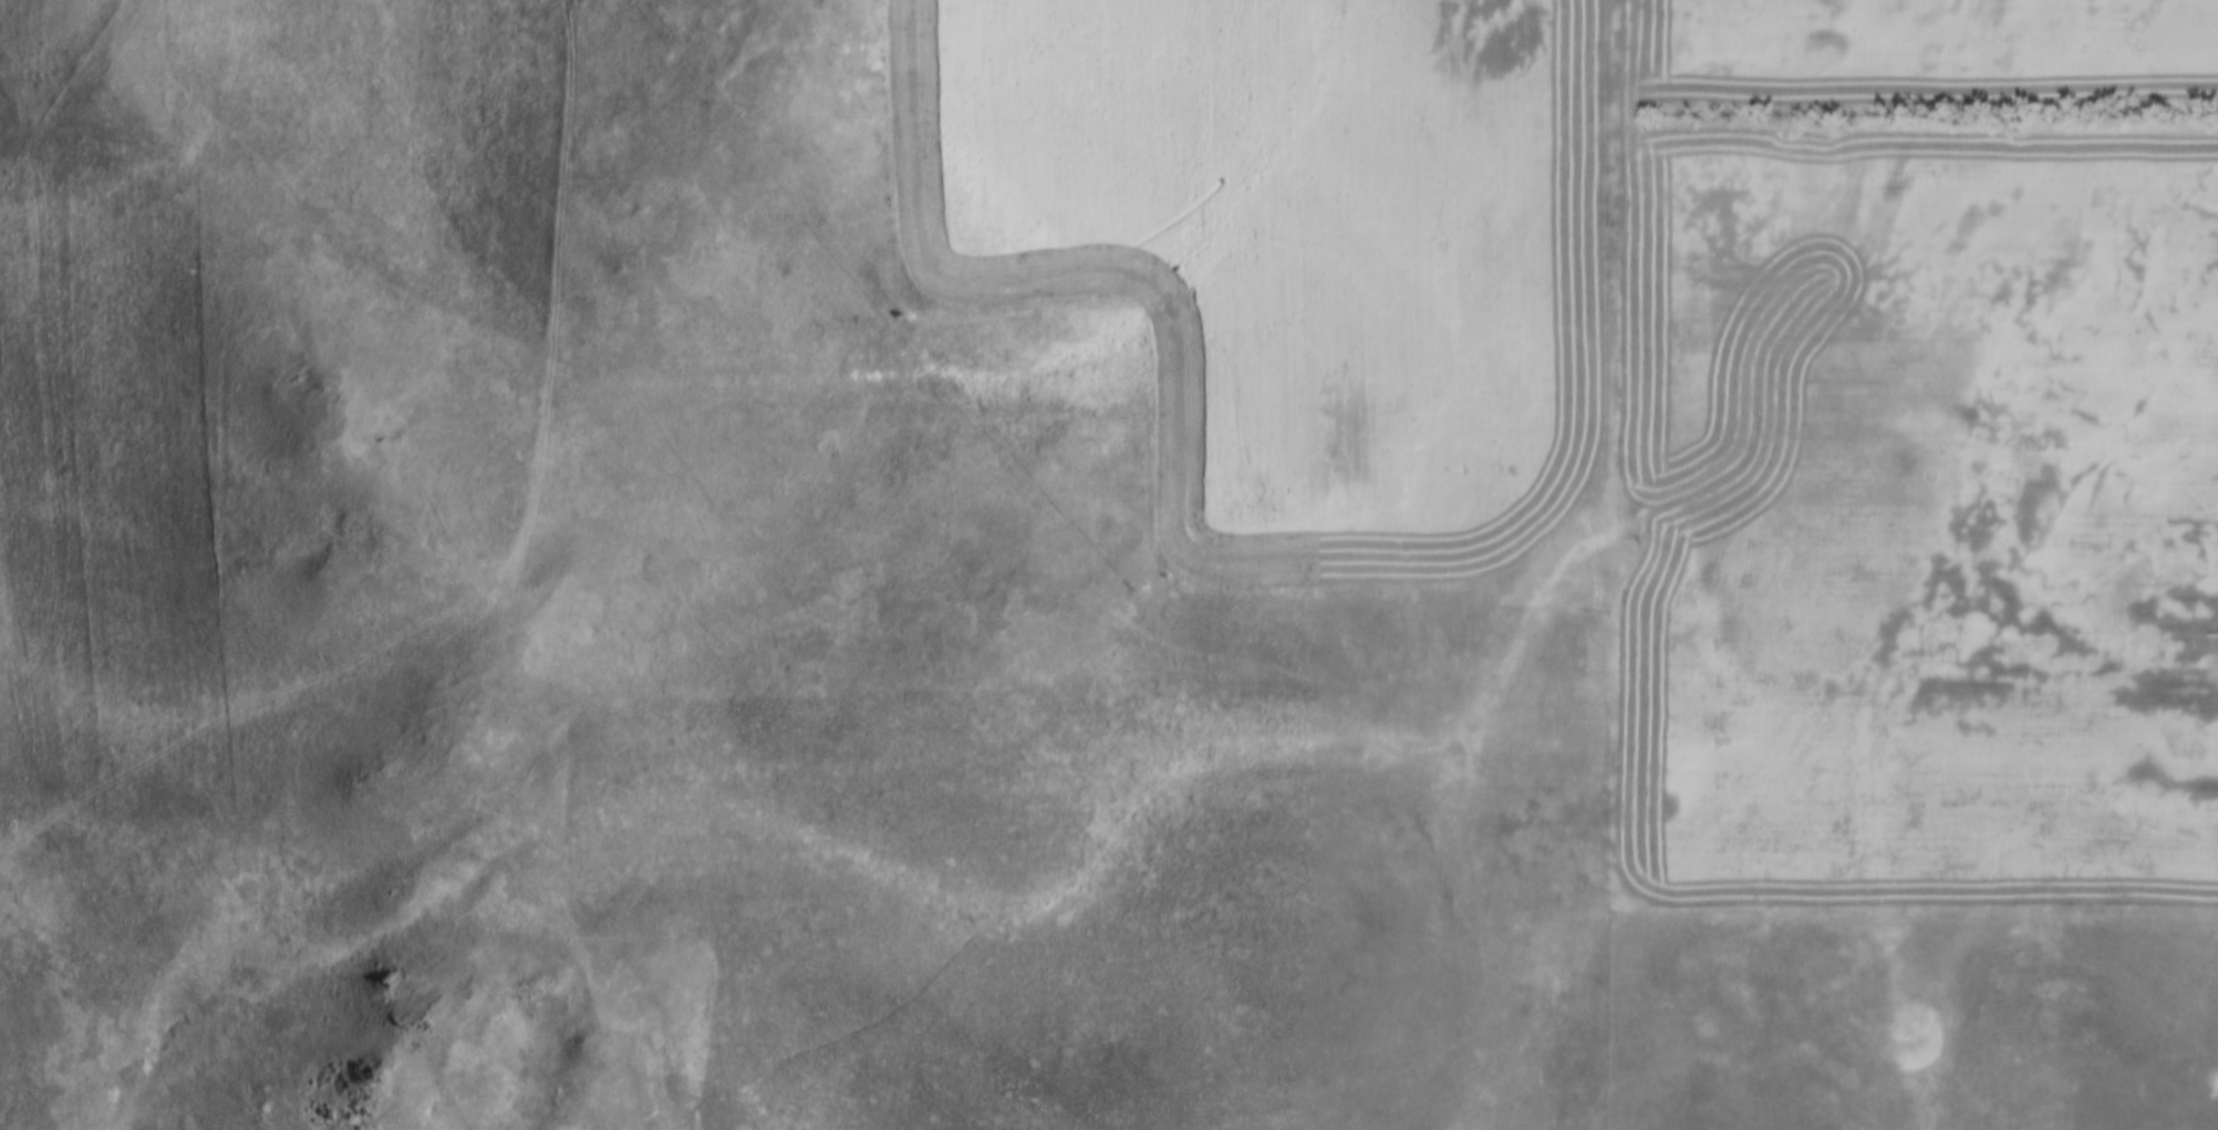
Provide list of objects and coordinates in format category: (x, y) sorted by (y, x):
road: (13, 695)

